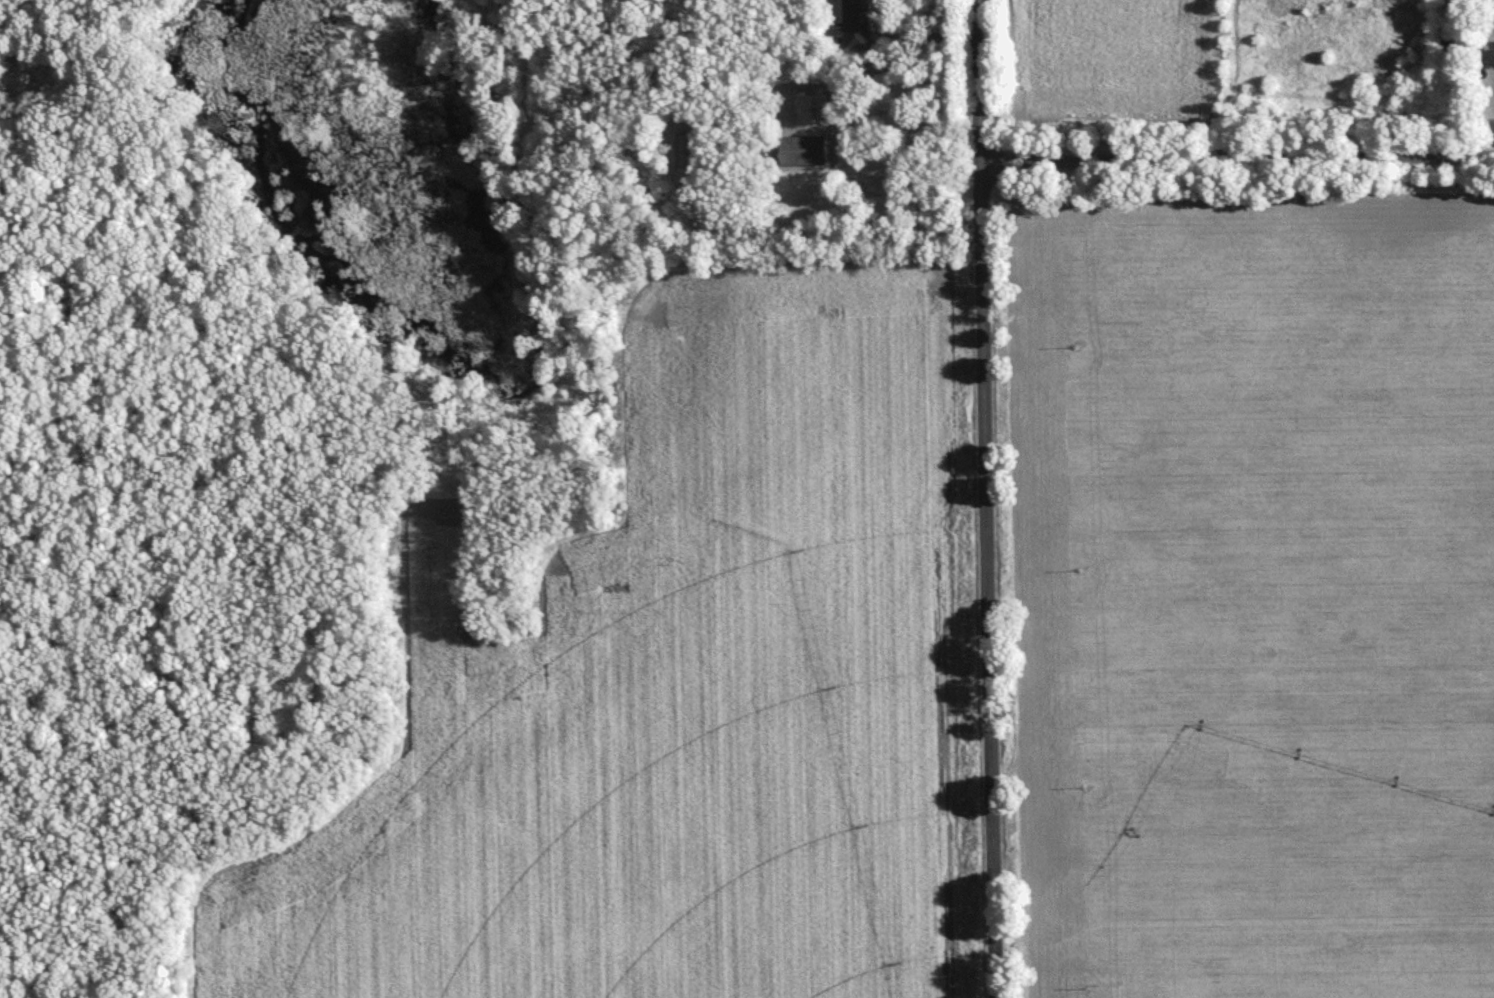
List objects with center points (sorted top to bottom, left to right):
building: (1452, 2)
building: (854, 26)
building: (1445, 50)
road: (99, 53)
building: (816, 112)
building: (801, 154)
road: (1236, 156)
road: (985, 499)

